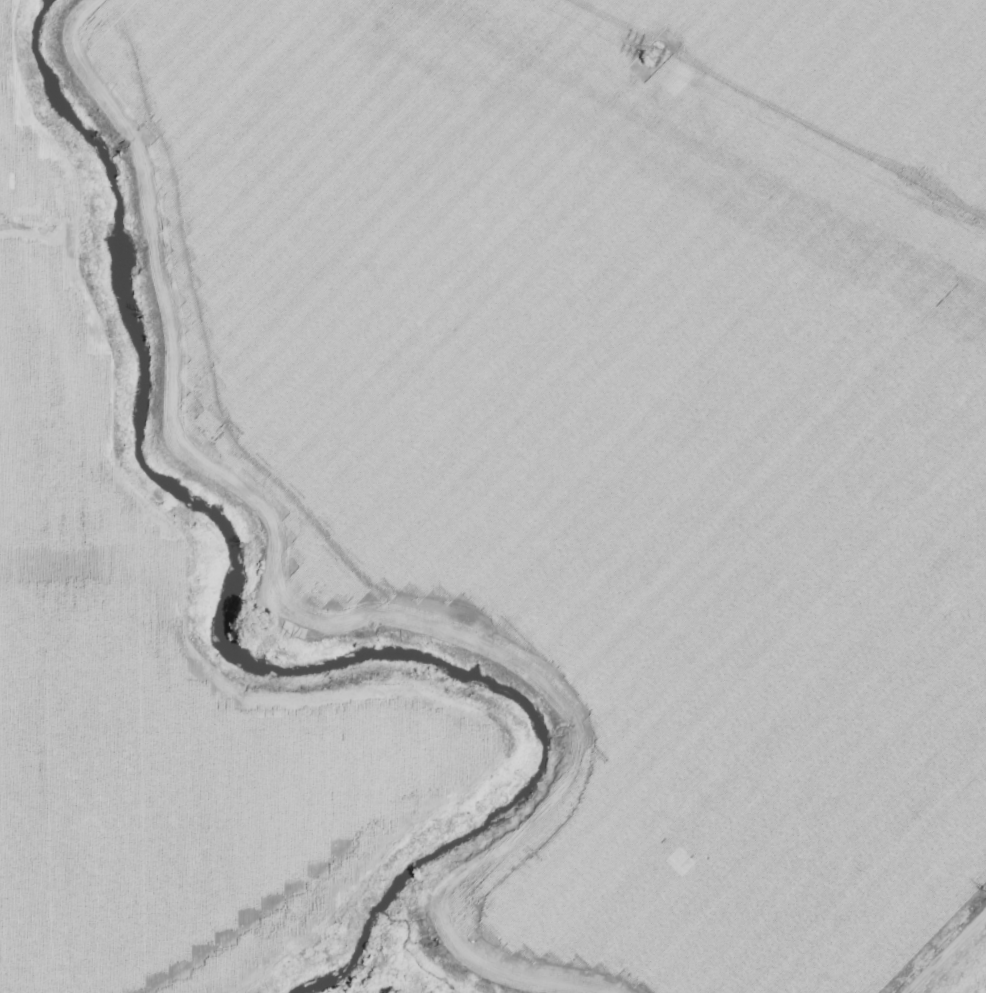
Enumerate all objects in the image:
power tower: (655, 55)

